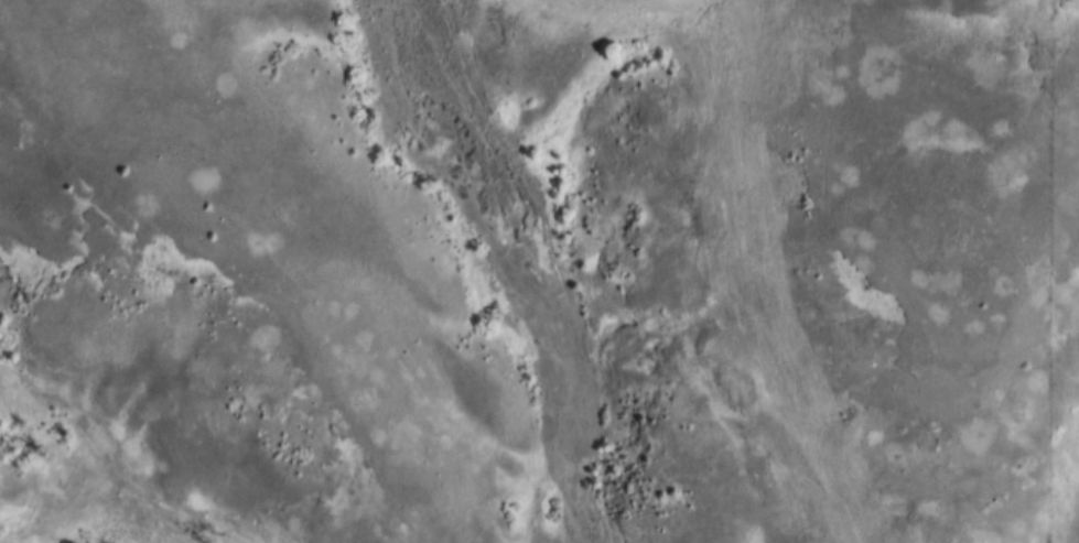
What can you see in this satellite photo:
road: (749, 282)

